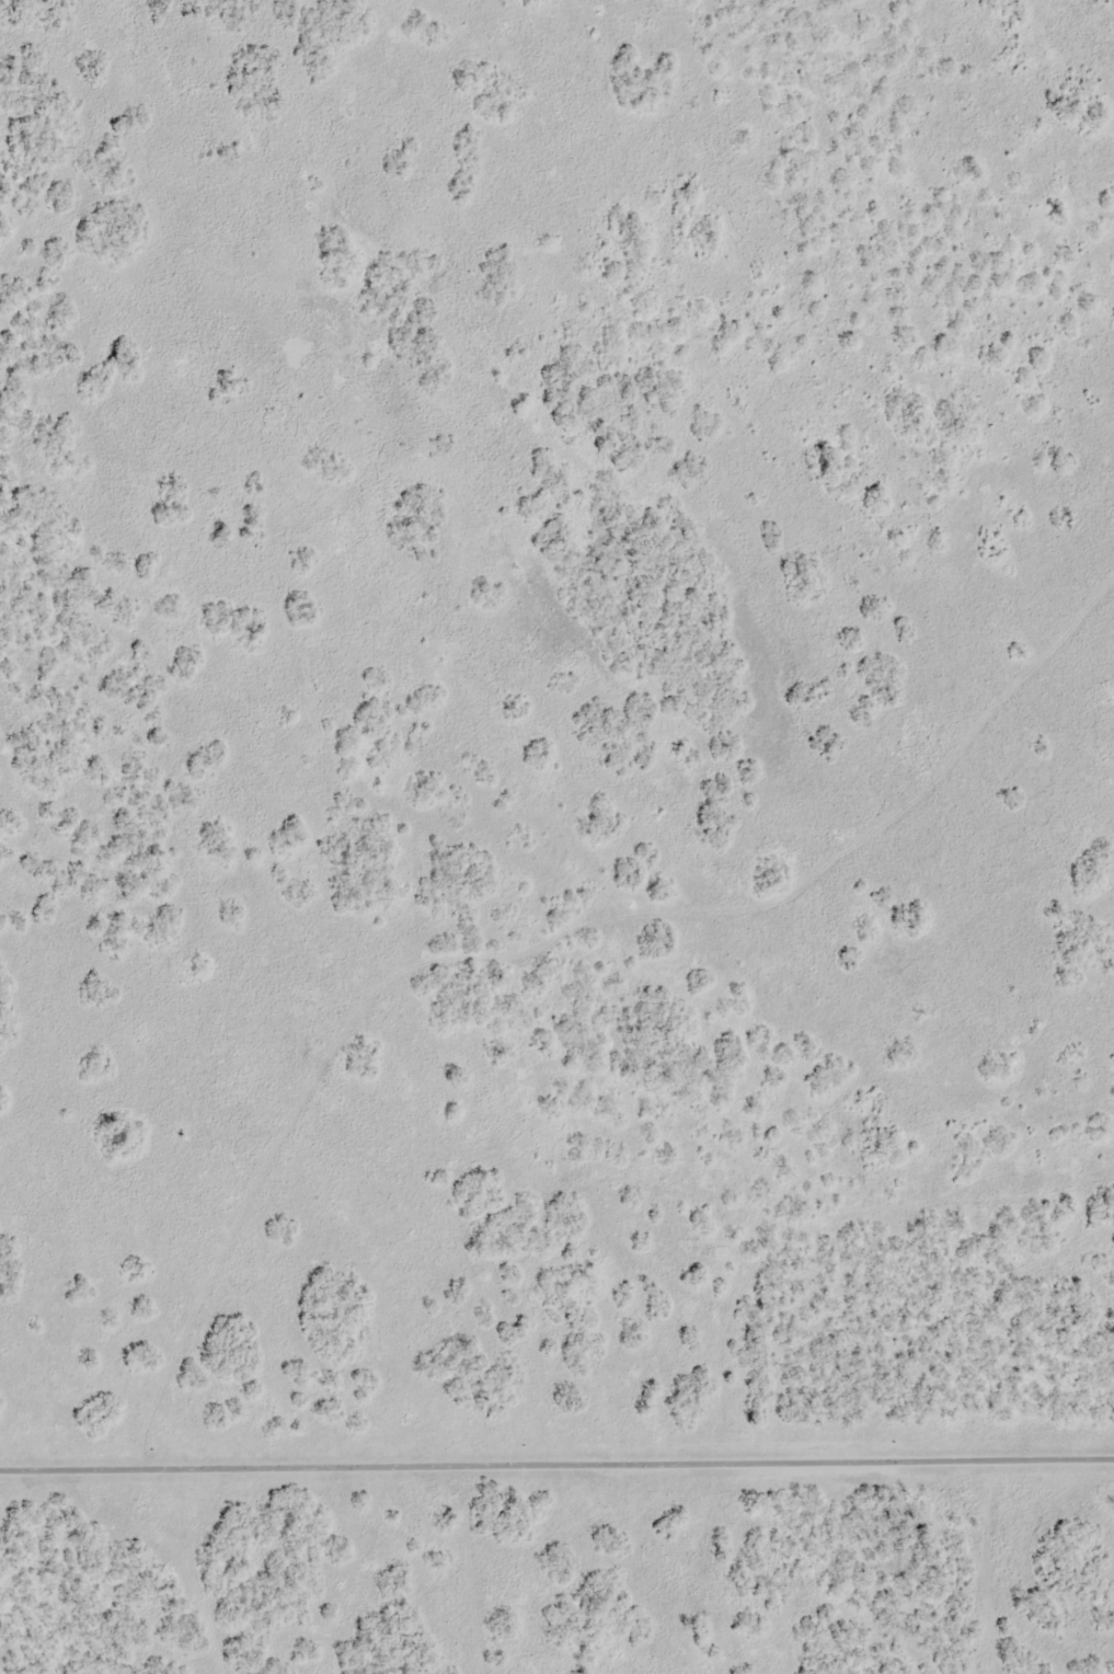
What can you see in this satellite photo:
road: (556, 1422)

